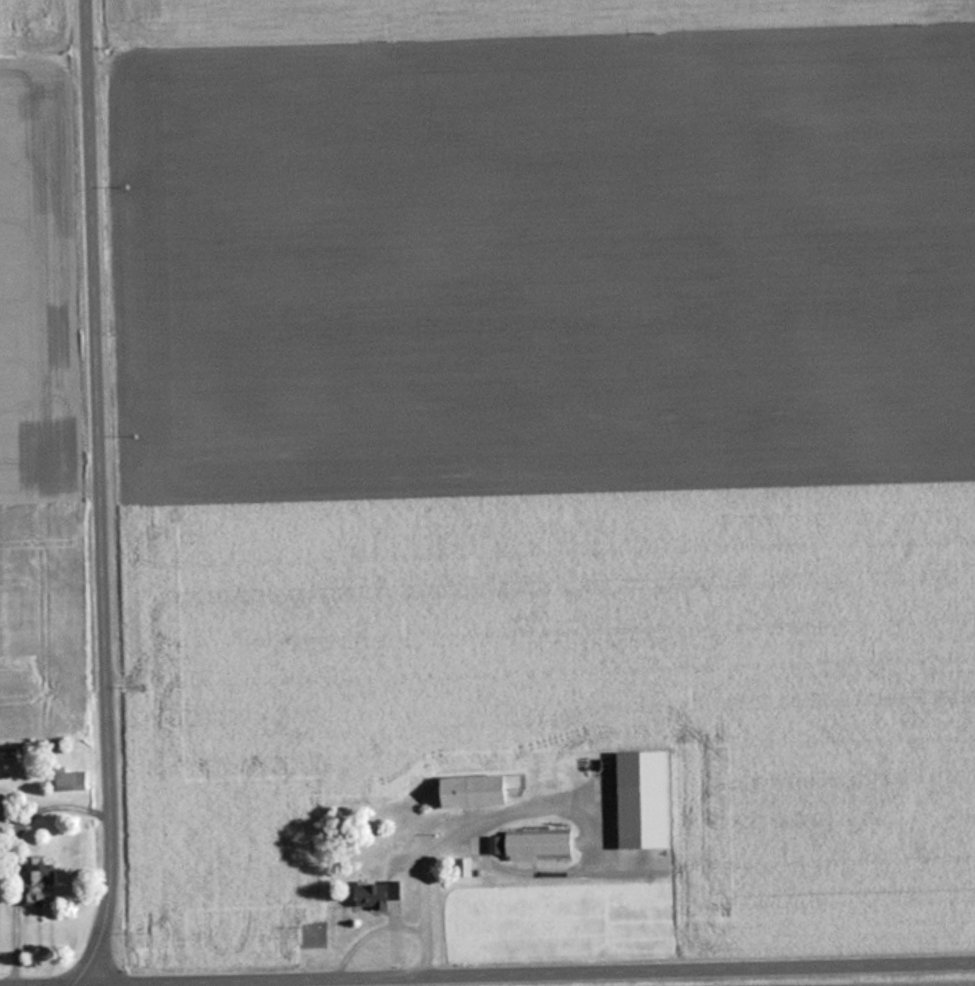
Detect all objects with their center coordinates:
road: (110, 496)
building: (9, 757)
building: (79, 781)
building: (478, 791)
building: (646, 800)
building: (5, 821)
building: (536, 844)
building: (39, 881)
building: (379, 894)
road: (532, 971)

